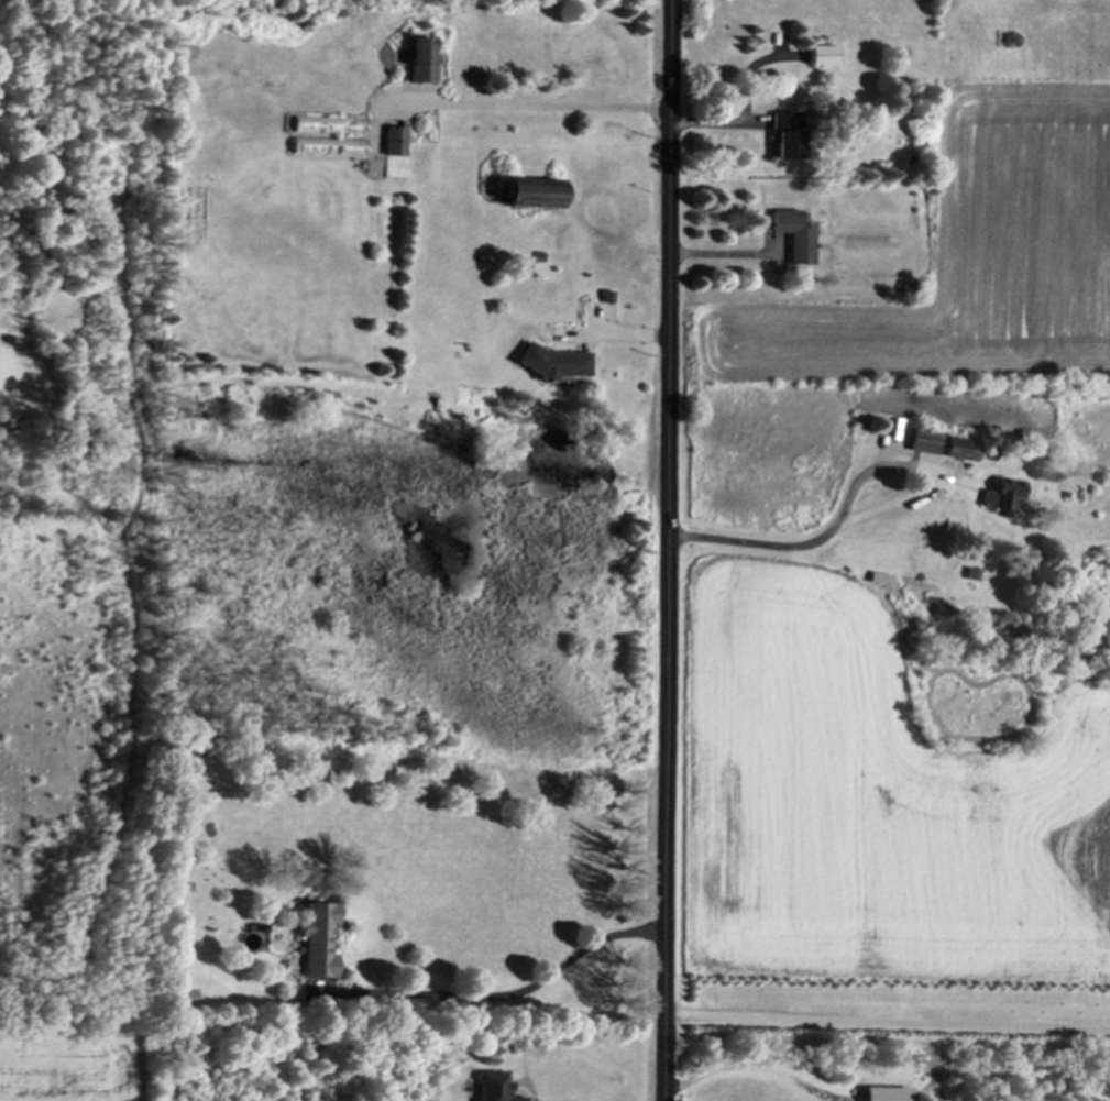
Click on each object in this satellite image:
building: (817, 57)
building: (416, 62)
road: (535, 107)
building: (326, 128)
building: (780, 137)
building: (392, 144)
building: (326, 148)
building: (525, 196)
building: (790, 239)
building: (550, 365)
building: (917, 443)
building: (998, 499)
road: (892, 506)
park: (68, 515)
road: (825, 537)
road: (664, 550)
building: (312, 944)
road: (504, 993)
road: (886, 1026)
road: (796, 1041)
road: (746, 1067)
building: (486, 1088)
building: (880, 1096)

